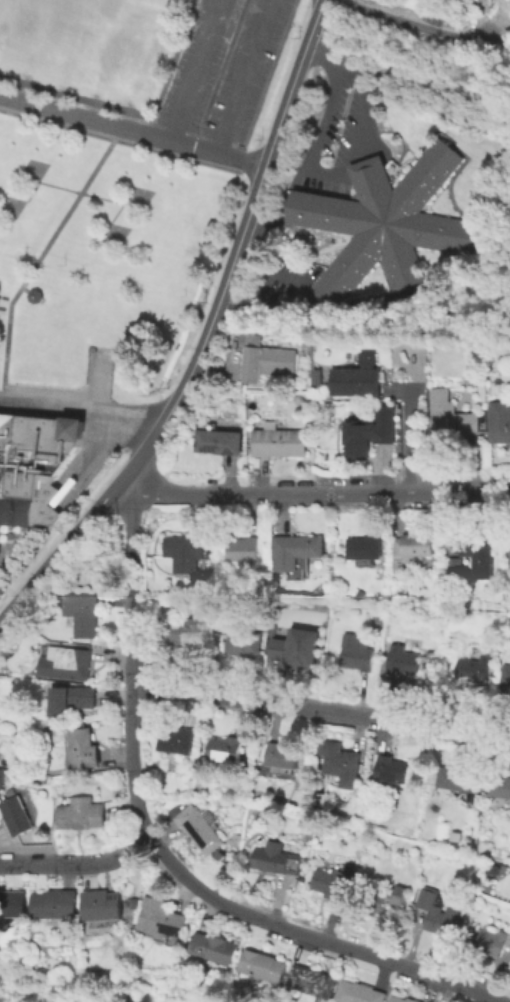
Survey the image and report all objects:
road: (424, 26)
road: (503, 59)
parking lot: (223, 69)
road: (195, 70)
road: (245, 77)
road: (130, 130)
road: (128, 141)
road: (346, 162)
road: (77, 190)
building: (388, 224)
road: (34, 260)
road: (22, 288)
building: (33, 295)
road: (33, 296)
road: (204, 332)
building: (90, 348)
building: (269, 364)
road: (98, 380)
building: (357, 381)
road: (0, 390)
road: (79, 407)
road: (39, 414)
building: (452, 421)
building: (499, 429)
building: (370, 430)
road: (404, 437)
building: (279, 440)
building: (219, 441)
building: (36, 458)
road: (88, 459)
road: (68, 473)
road: (74, 489)
road: (314, 494)
street lamp: (77, 508)
building: (17, 510)
building: (364, 546)
building: (476, 547)
building: (242, 548)
building: (508, 548)
building: (295, 549)
building: (412, 549)
building: (184, 552)
building: (454, 565)
building: (81, 611)
building: (376, 613)
building: (183, 630)
building: (244, 642)
building: (297, 648)
building: (356, 652)
road: (130, 654)
building: (402, 659)
building: (433, 661)
building: (66, 662)
building: (473, 669)
building: (506, 676)
building: (72, 698)
road: (320, 709)
building: (176, 739)
building: (82, 746)
building: (225, 748)
building: (283, 755)
building: (342, 763)
building: (392, 769)
building: (2, 777)
building: (460, 778)
building: (500, 784)
building: (81, 812)
building: (17, 815)
building: (200, 828)
building: (222, 854)
building: (273, 860)
road: (77, 861)
building: (507, 874)
building: (335, 881)
building: (383, 897)
building: (13, 903)
building: (56, 904)
building: (102, 904)
building: (442, 911)
building: (162, 920)
road: (309, 936)
building: (493, 941)
building: (213, 947)
building: (263, 965)
building: (311, 982)
building: (358, 992)
building: (400, 999)

